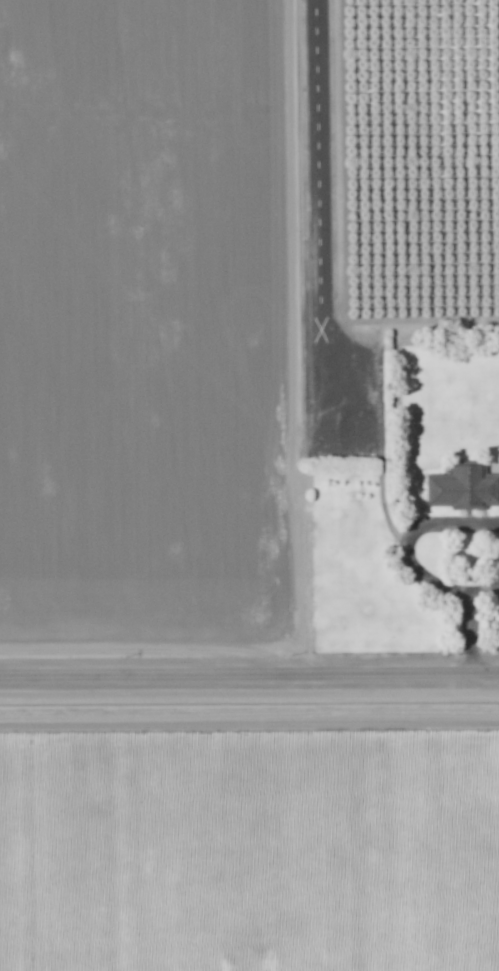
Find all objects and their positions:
airport runway: (318, 208)
crop: (135, 328)
building: (463, 489)
road: (410, 534)
road: (481, 584)
road: (464, 635)
road: (249, 676)
crop: (249, 835)

